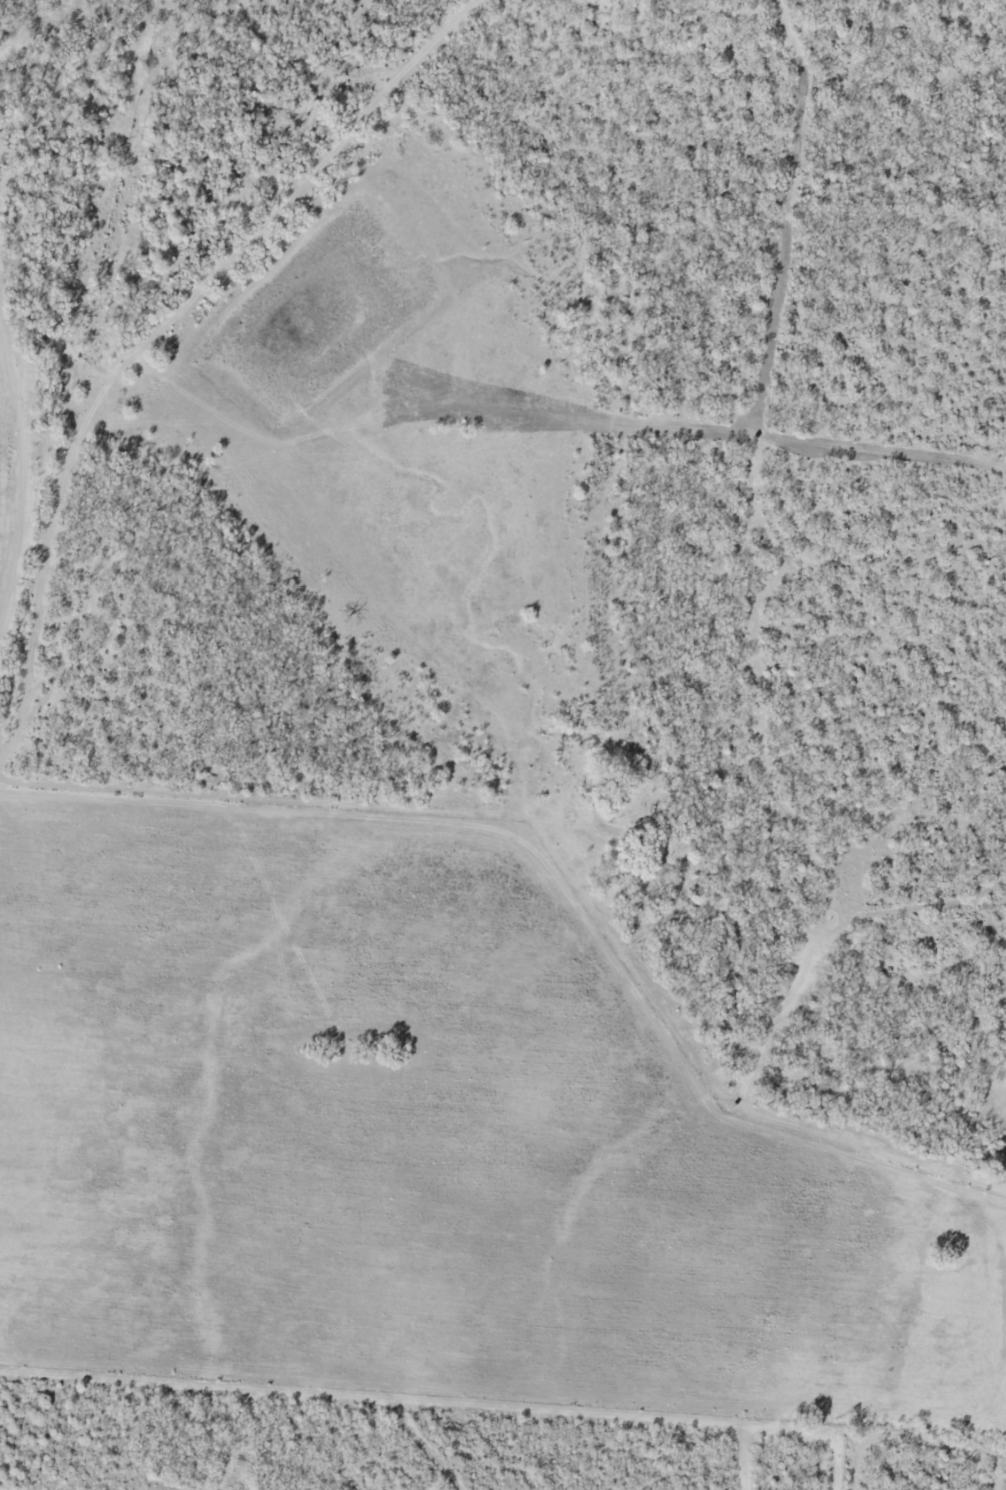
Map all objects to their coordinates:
road: (975, 1202)

